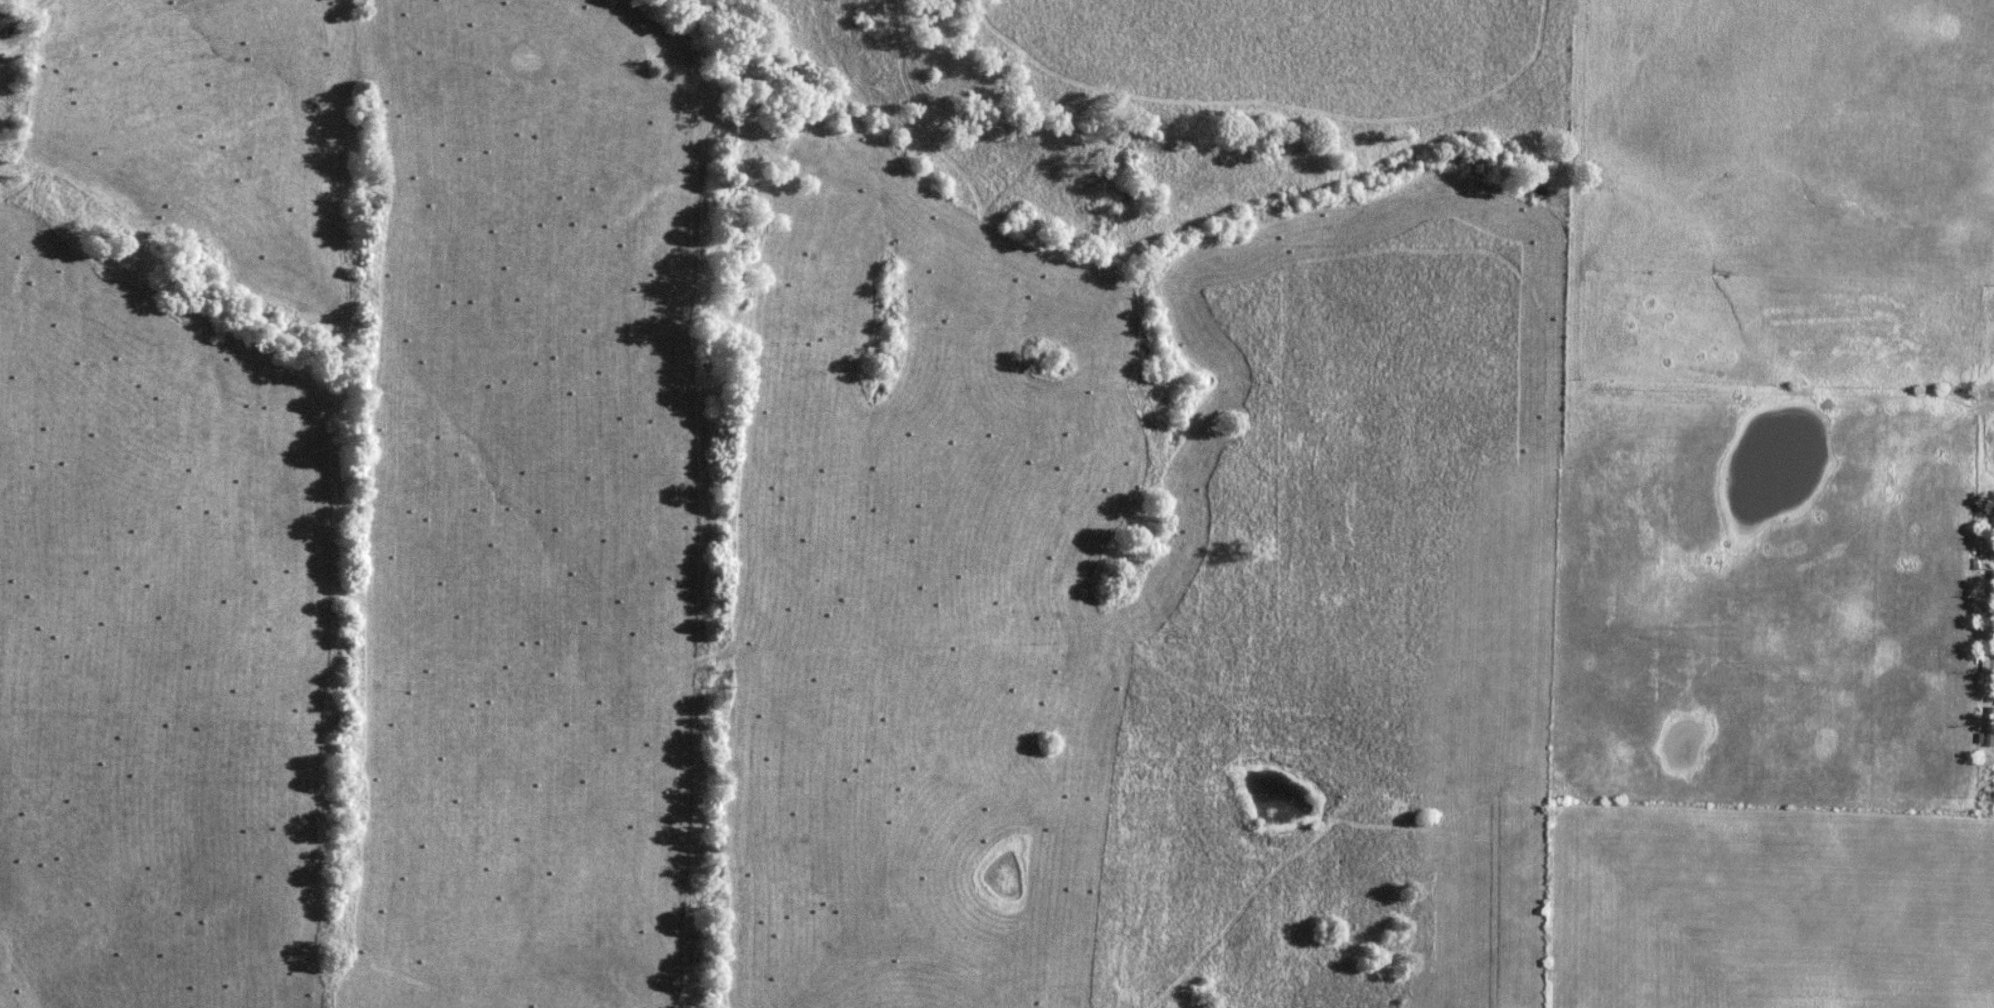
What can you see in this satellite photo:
road: (14, 10)
building: (1992, 726)

